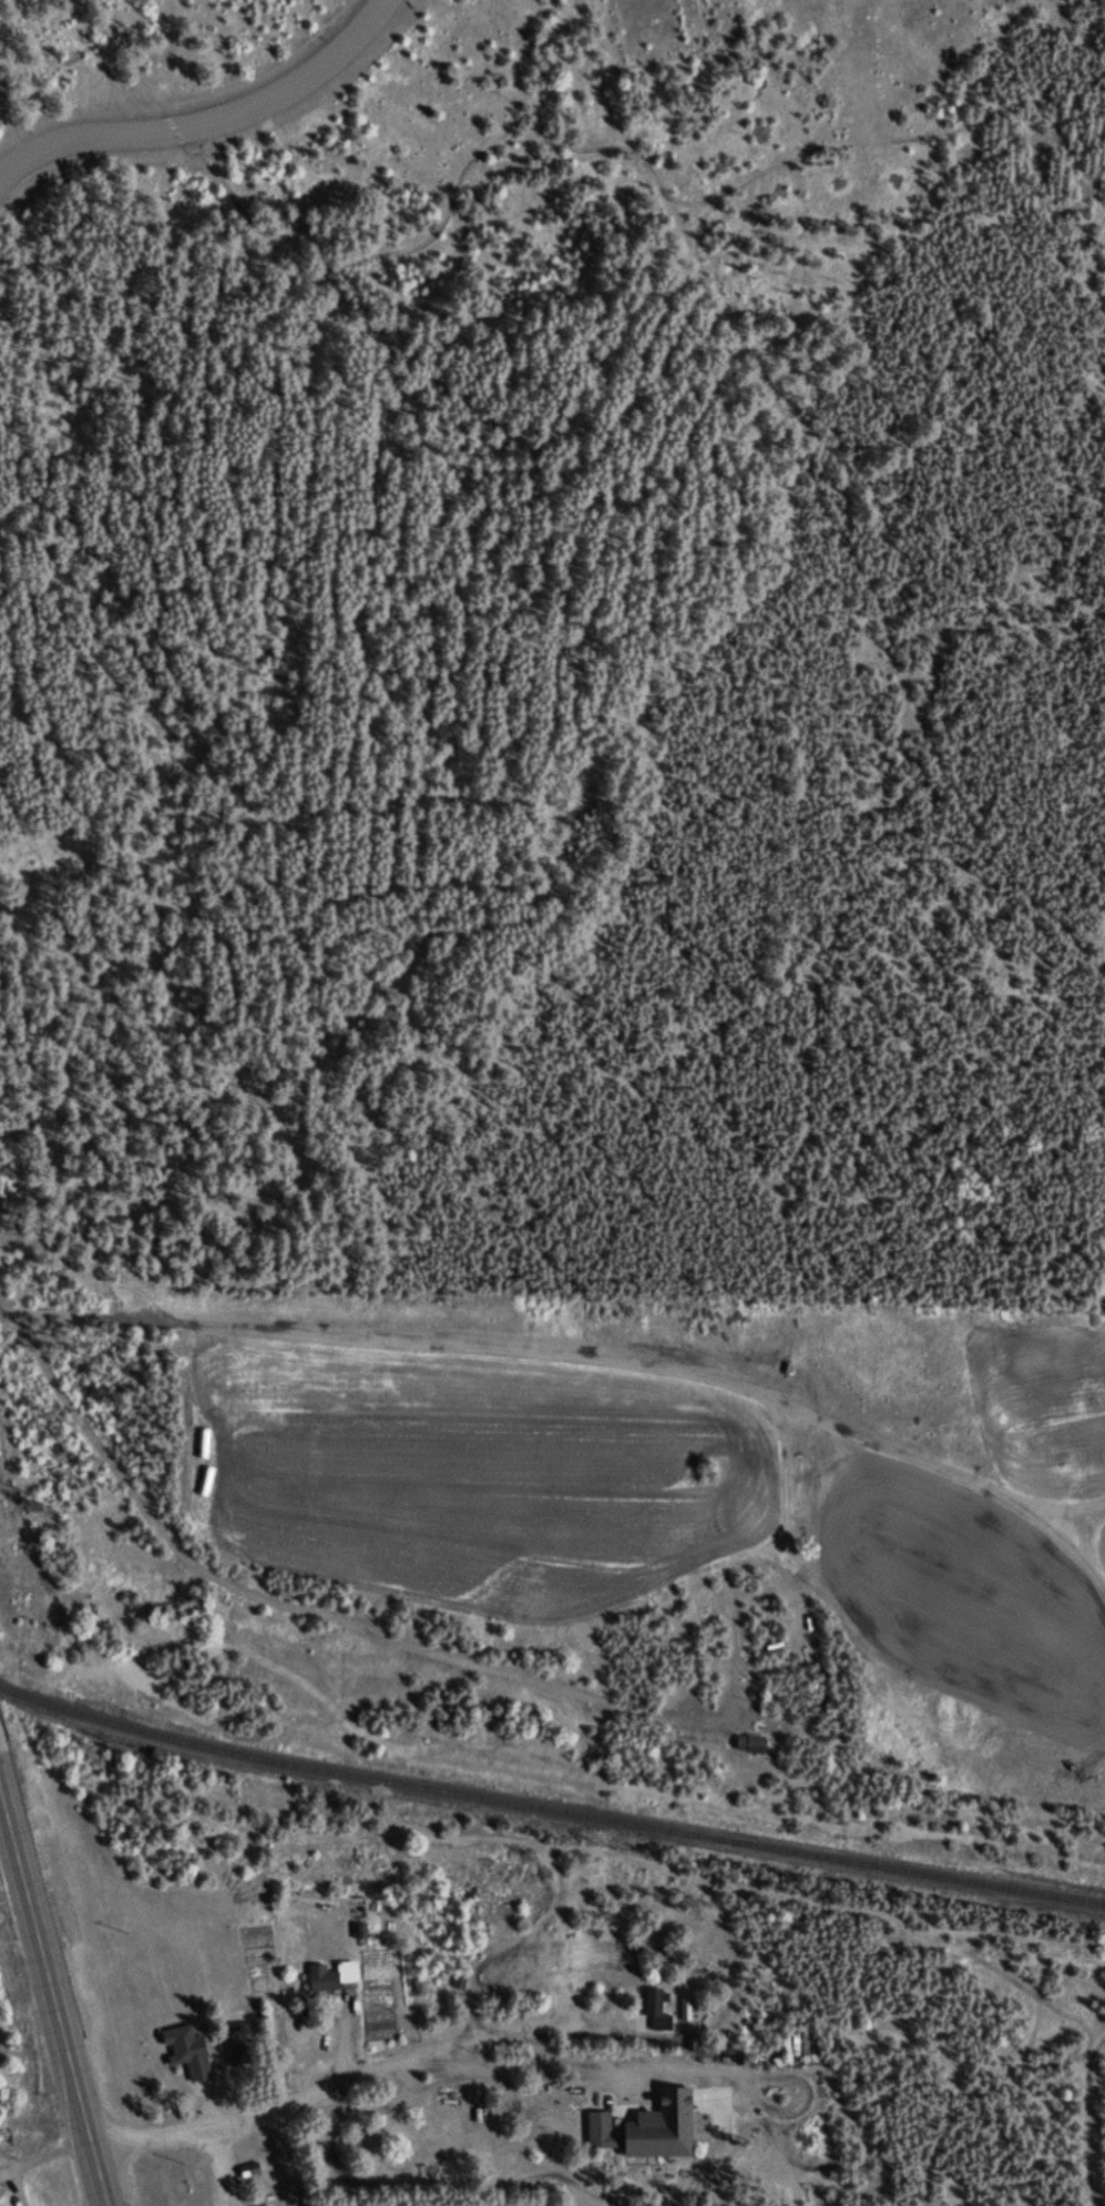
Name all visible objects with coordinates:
road: (209, 120)
road: (553, 1345)
road: (494, 1669)
building: (749, 1748)
railway: (549, 1812)
building: (331, 1979)
road: (54, 1999)
building: (653, 2013)
building: (190, 2053)
road: (417, 2055)
building: (440, 2127)
building: (648, 2131)
road: (153, 2137)
road: (50, 2153)

